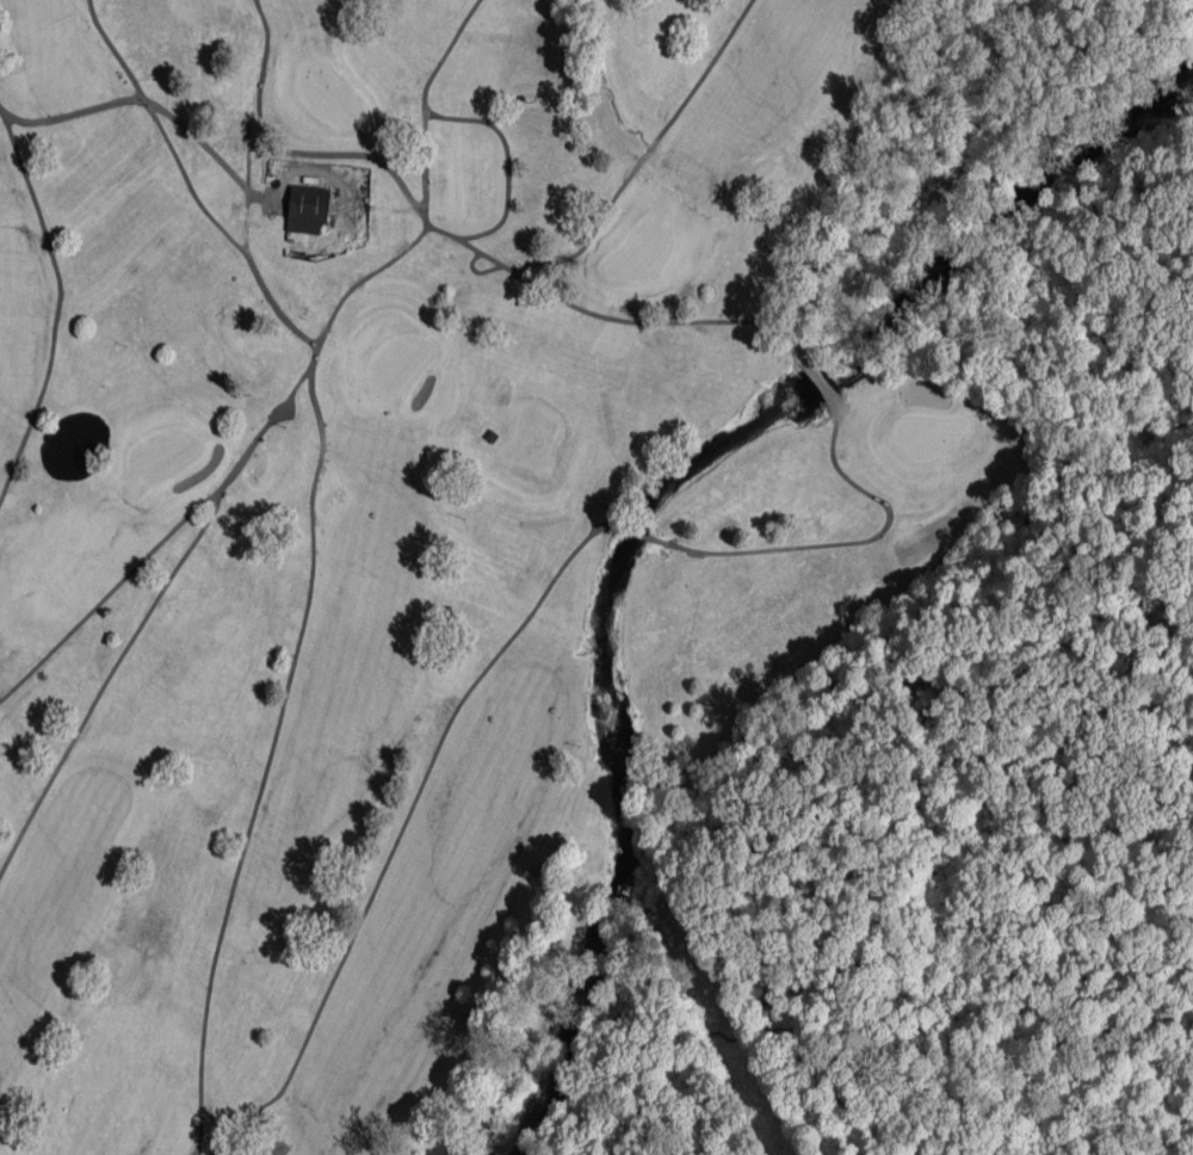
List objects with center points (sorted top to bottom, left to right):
park: (329, 93)
road: (72, 112)
building: (304, 208)
park: (638, 252)
road: (481, 267)
park: (401, 363)
park: (928, 433)
building: (490, 436)
park: (165, 453)
river: (644, 504)
park: (403, 517)

